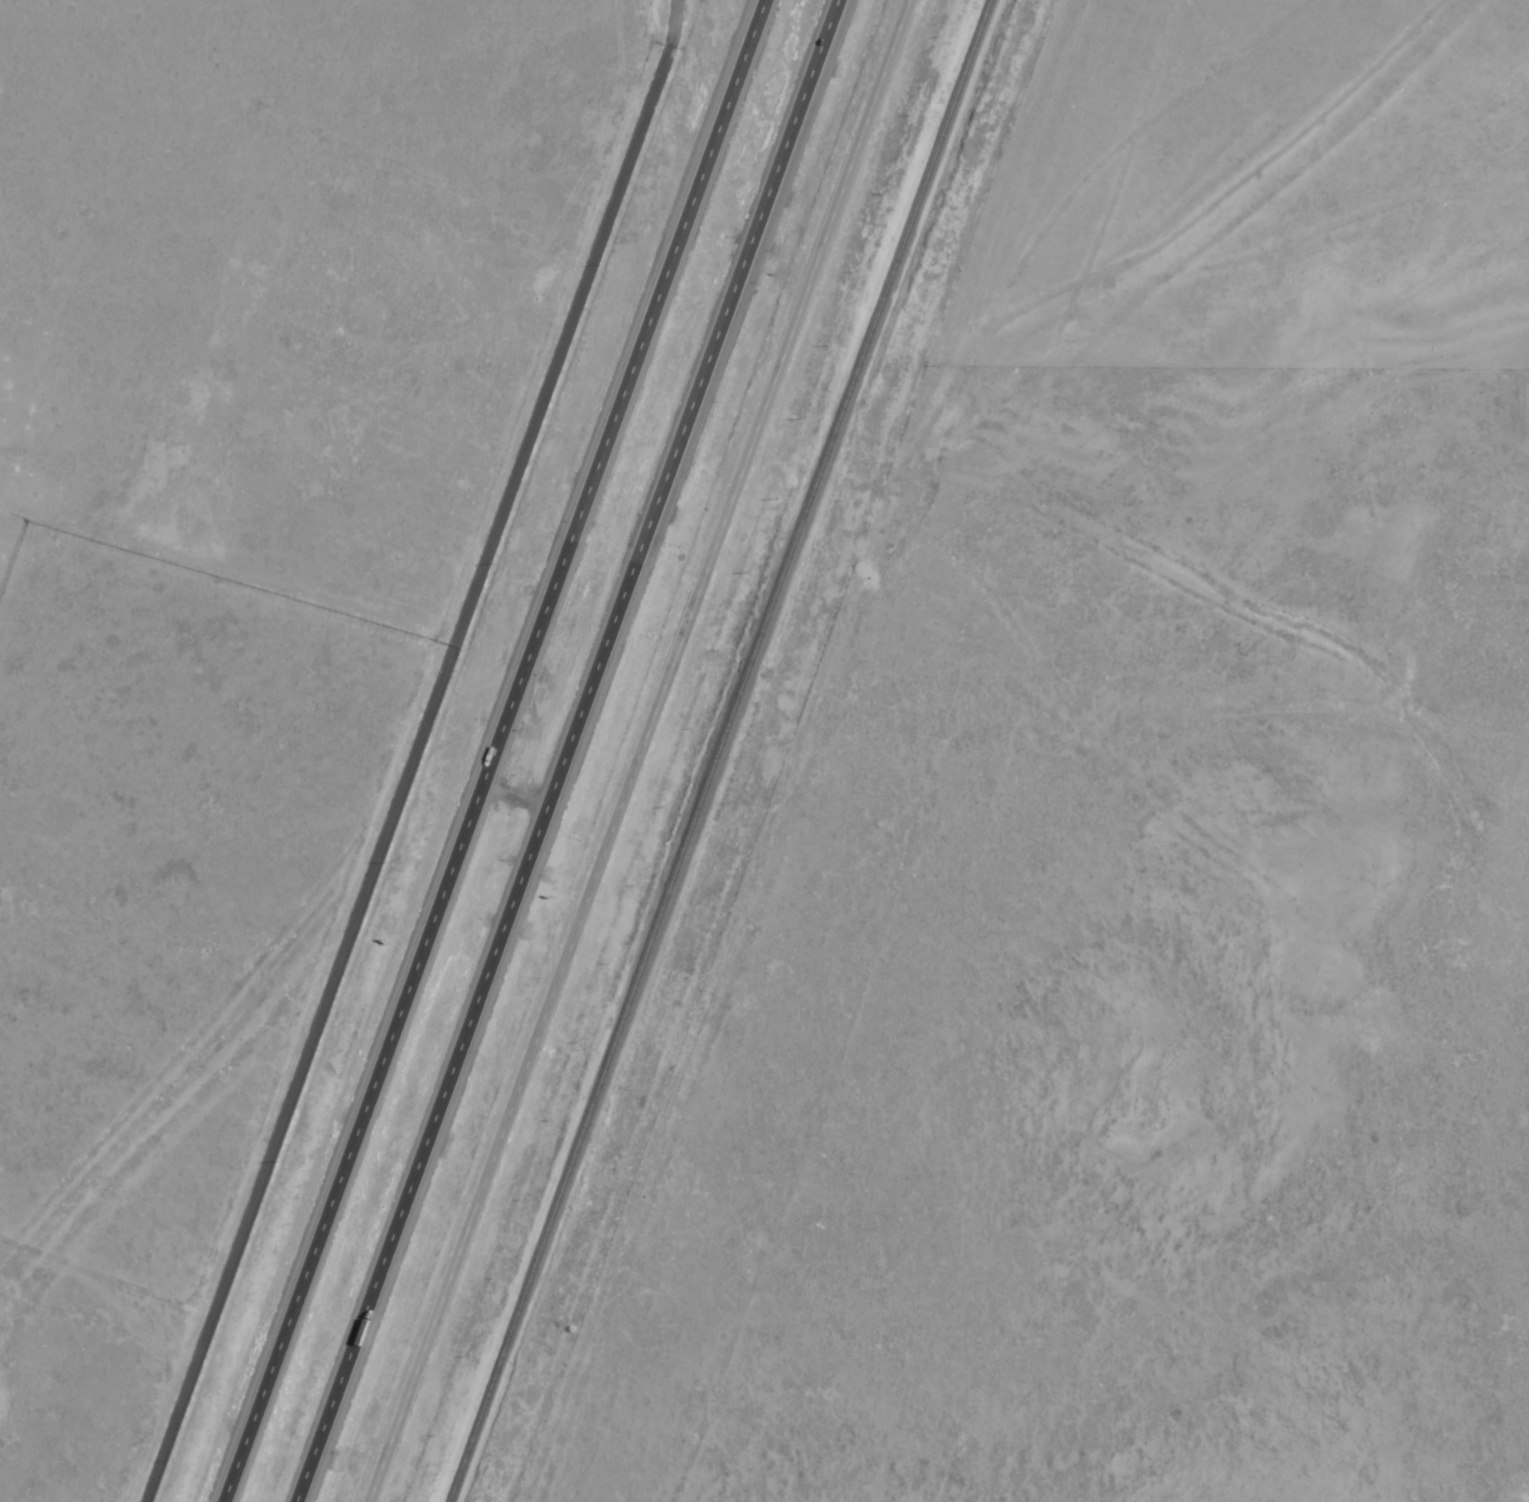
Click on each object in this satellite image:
road: (571, 750)
road: (411, 751)
road: (492, 751)
railway: (719, 751)
road: (639, 753)

